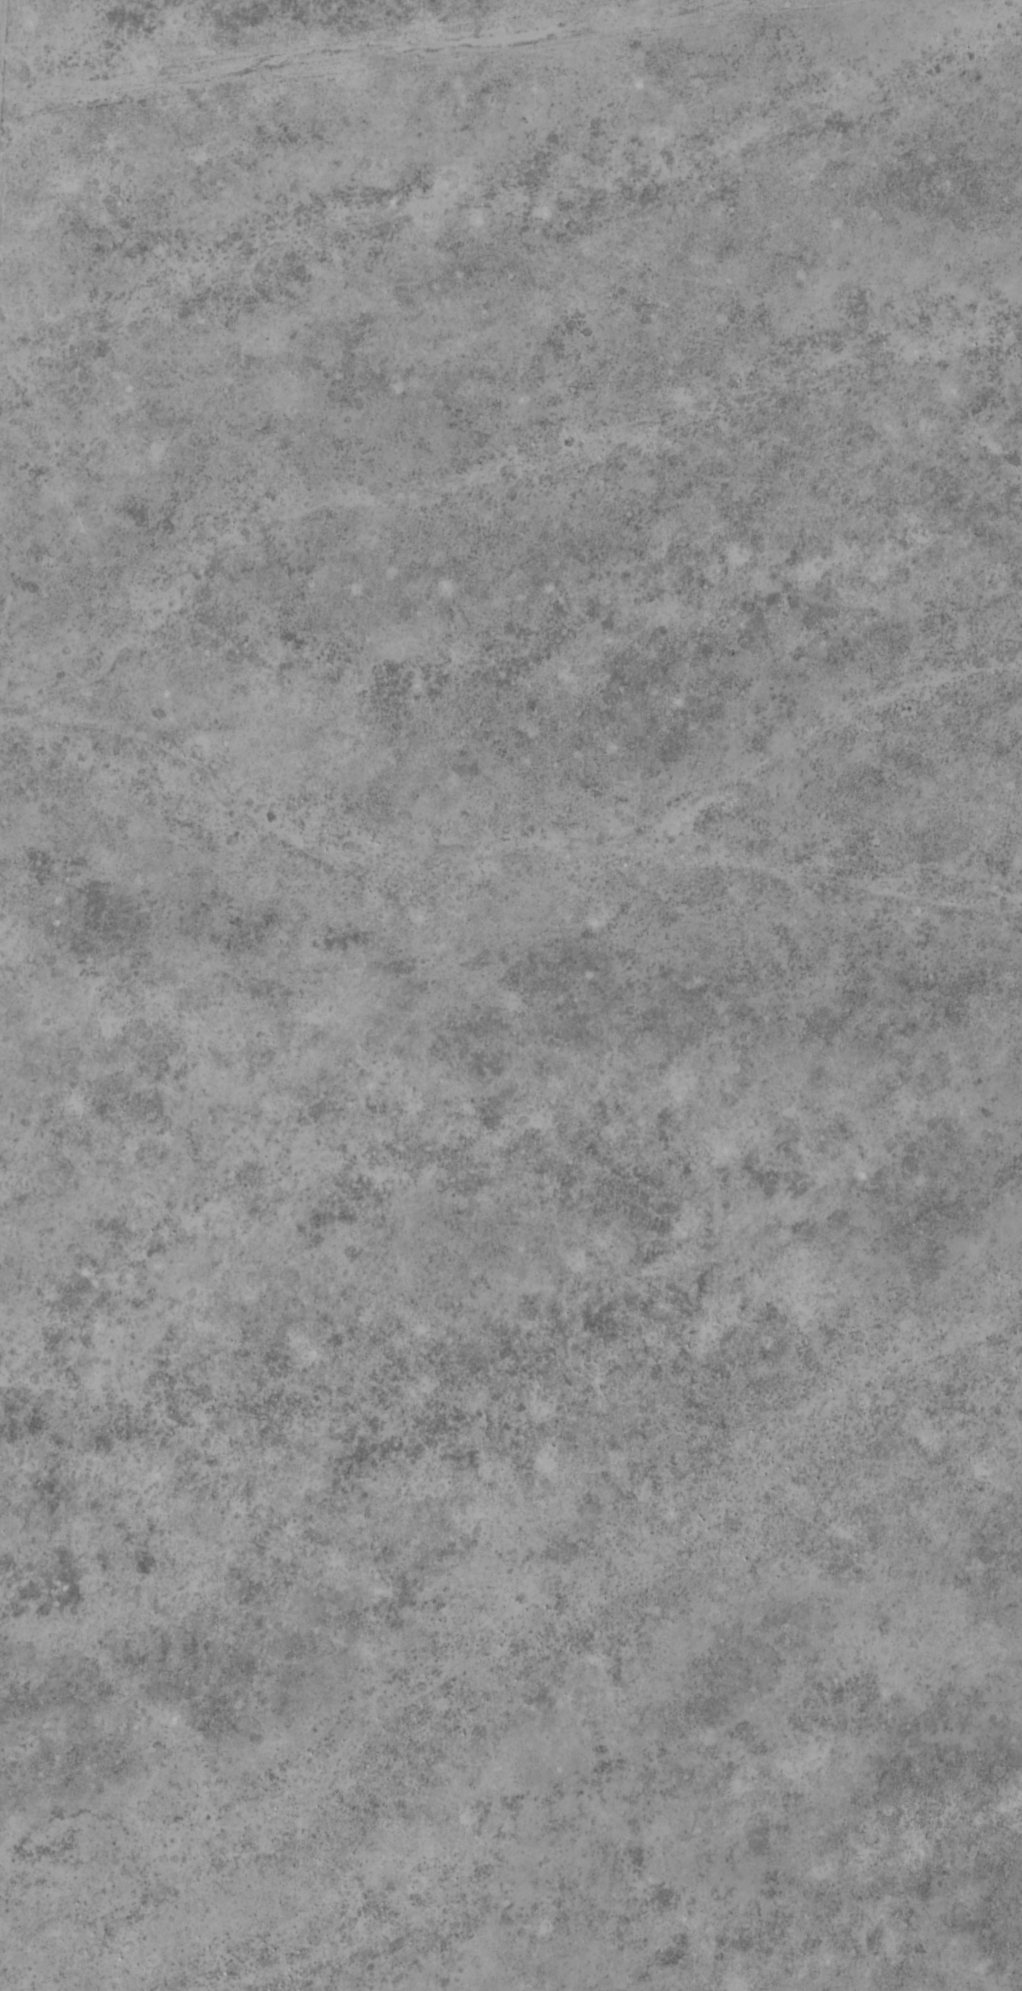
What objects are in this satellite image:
road: (664, 8)

